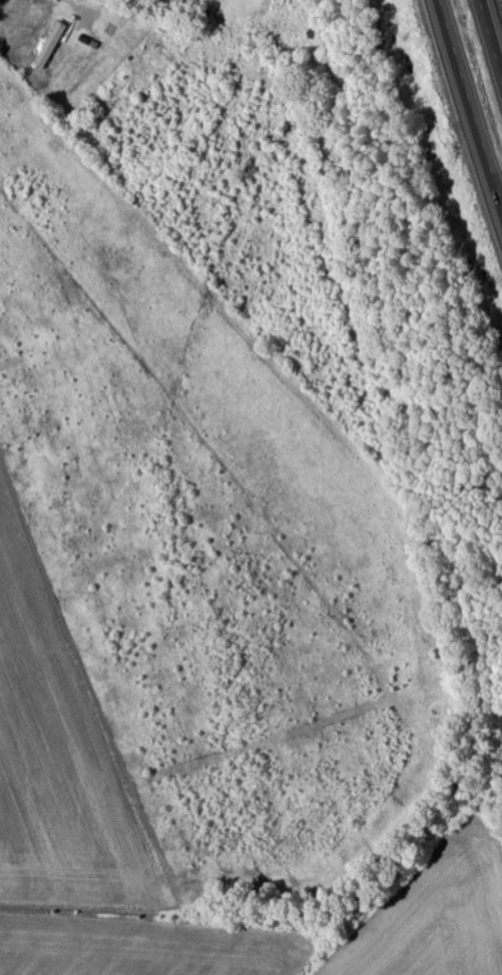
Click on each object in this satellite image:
road: (0, 1)
building: (309, 32)
road: (491, 35)
building: (52, 45)
road: (468, 107)

